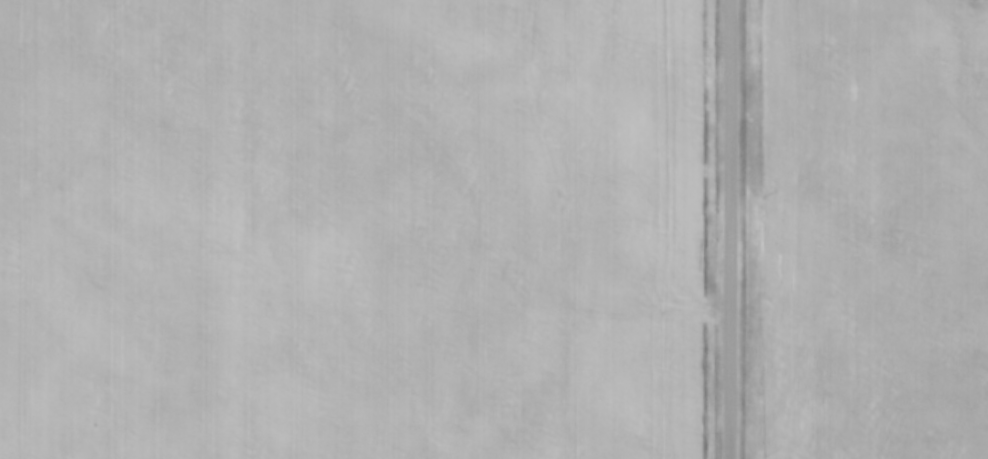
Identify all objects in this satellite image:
road: (727, 229)

